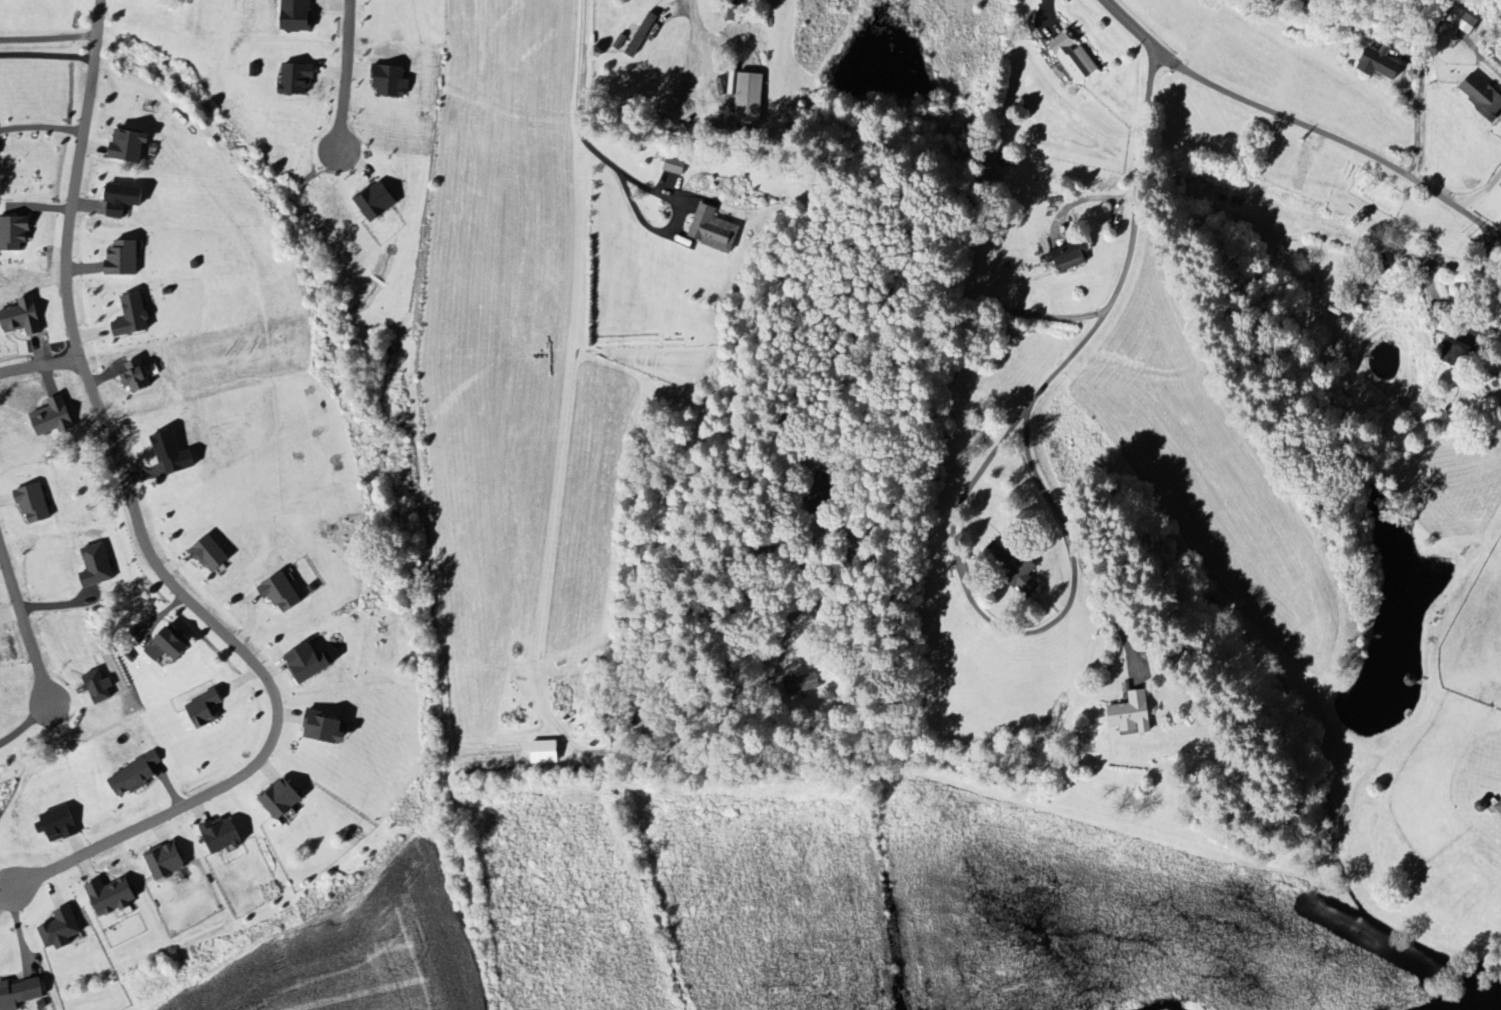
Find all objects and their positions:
building: (296, 15)
road: (696, 31)
road: (47, 39)
building: (1074, 58)
road: (1487, 58)
building: (1380, 63)
road: (348, 75)
building: (297, 77)
building: (391, 81)
road: (578, 94)
building: (1482, 95)
building: (749, 98)
road: (1299, 121)
road: (40, 125)
building: (129, 145)
building: (674, 165)
road: (1482, 193)
building: (122, 199)
building: (376, 201)
road: (673, 226)
building: (713, 230)
building: (14, 233)
road: (1489, 254)
building: (1071, 255)
building: (123, 258)
road: (1441, 264)
building: (132, 316)
building: (22, 318)
road: (915, 327)
building: (1456, 349)
road: (39, 364)
building: (136, 377)
building: (53, 418)
road: (1027, 424)
building: (172, 453)
building: (33, 503)
road: (145, 542)
building: (210, 554)
building: (96, 566)
road: (965, 581)
building: (282, 593)
road: (24, 623)
building: (167, 646)
building: (308, 663)
building: (801, 684)
building: (99, 687)
building: (205, 710)
building: (1132, 714)
building: (324, 729)
building: (545, 752)
building: (135, 776)
building: (282, 799)
building: (1499, 809)
building: (58, 824)
building: (222, 836)
building: (165, 861)
building: (111, 897)
building: (61, 930)
building: (20, 993)

